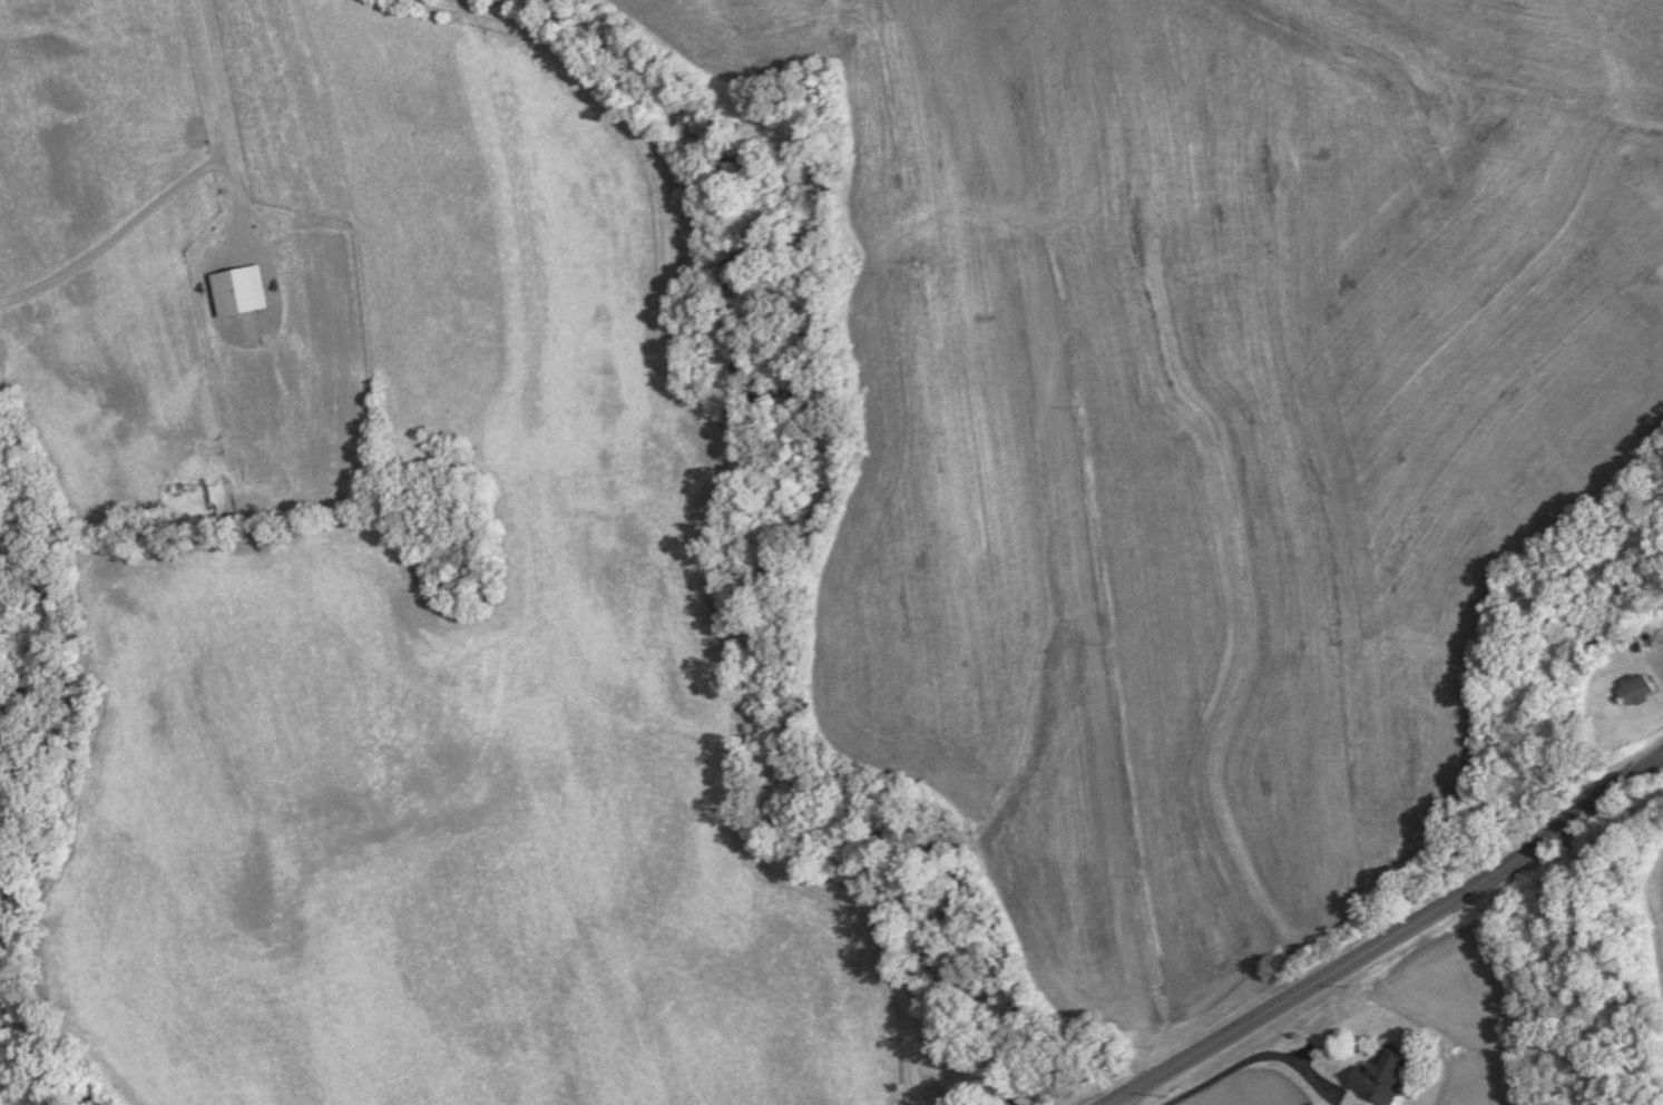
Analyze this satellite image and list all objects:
road: (442, 1)
road: (177, 176)
road: (716, 534)
building: (1638, 687)
road: (1388, 936)
road: (1261, 1054)
building: (1381, 1077)
road: (1111, 1103)

